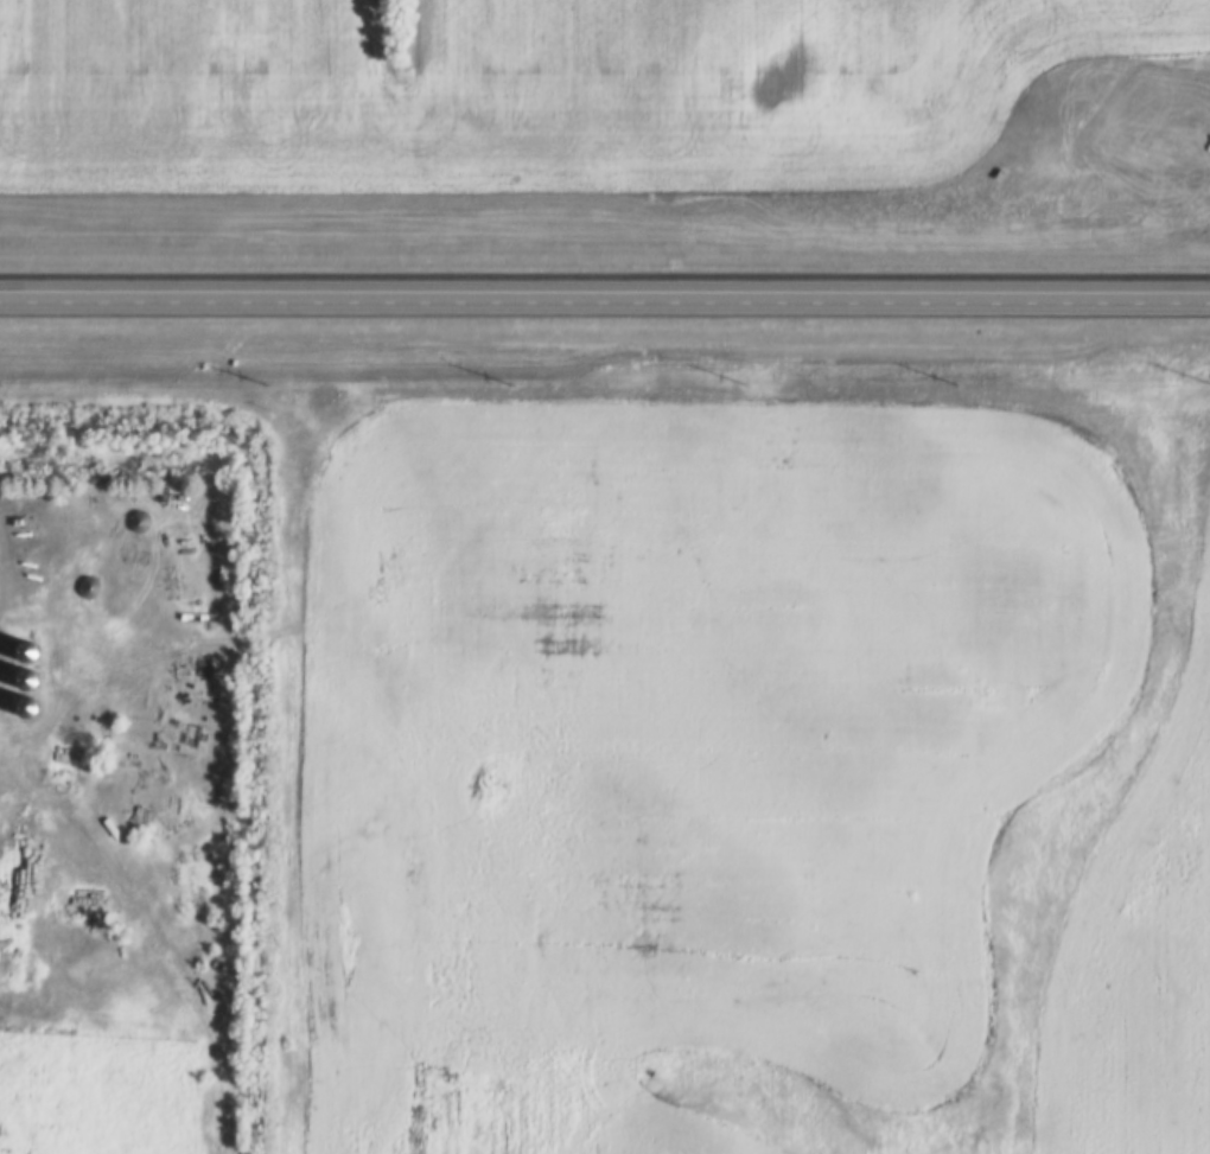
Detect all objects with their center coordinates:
road: (605, 289)
road: (153, 927)

